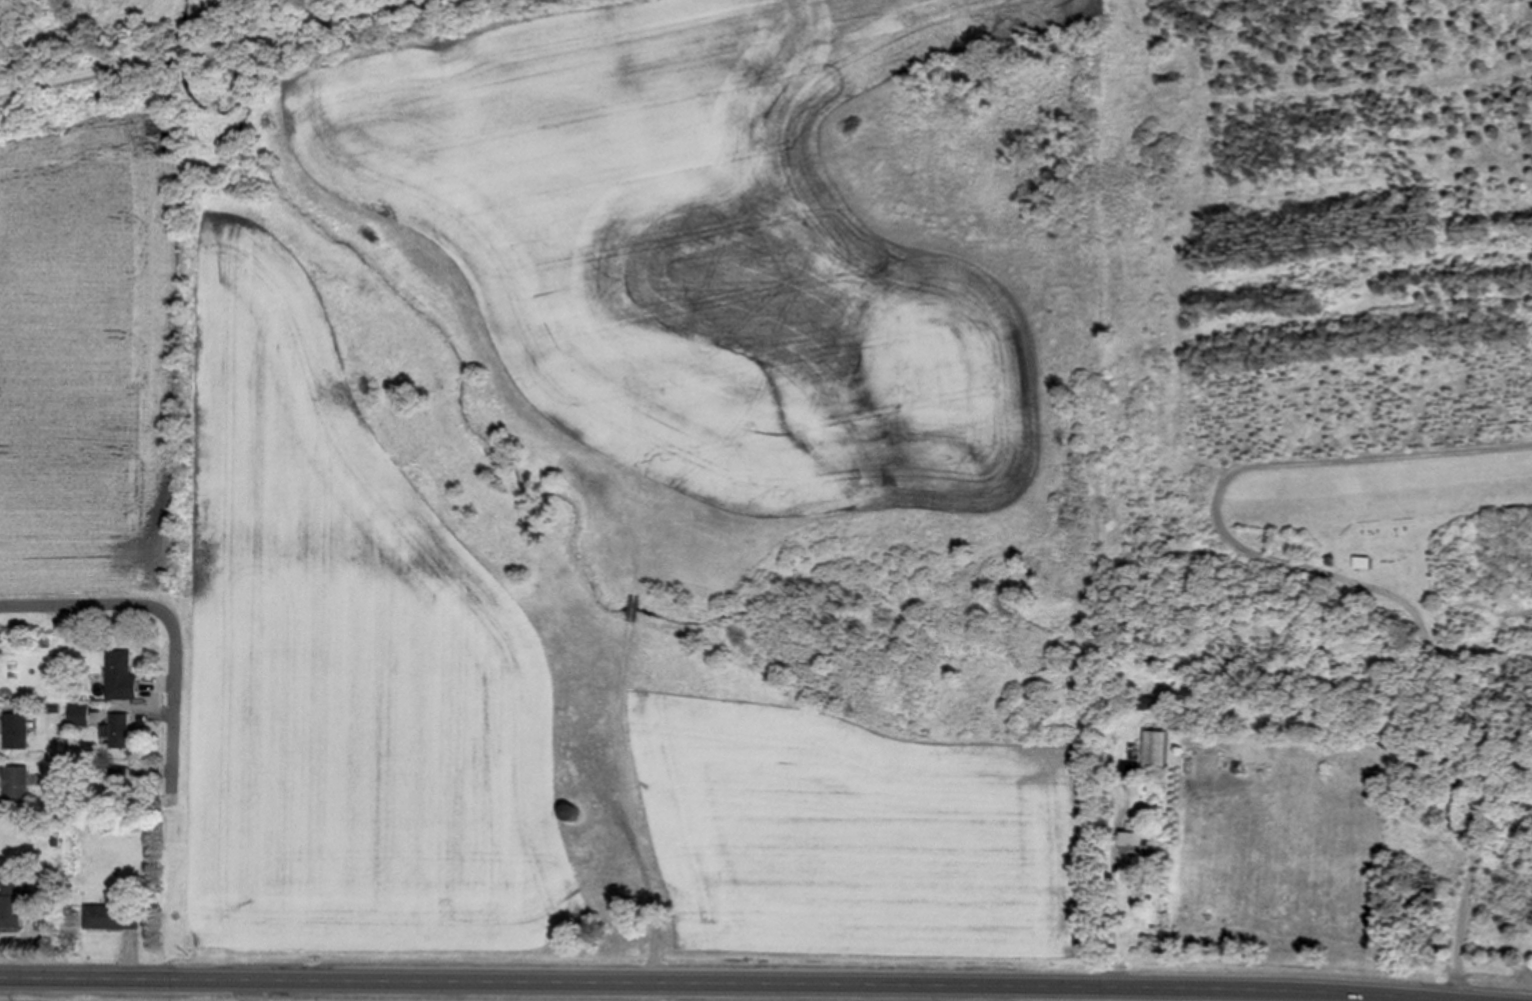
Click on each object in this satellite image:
road: (208, 44)
airport runway: (1387, 488)
building: (1363, 563)
road: (86, 604)
building: (121, 674)
road: (175, 700)
building: (80, 716)
building: (18, 731)
building: (121, 731)
building: (1158, 751)
building: (1130, 772)
building: (121, 779)
building: (18, 784)
building: (1136, 845)
building: (11, 905)
building: (113, 918)
road: (745, 983)

